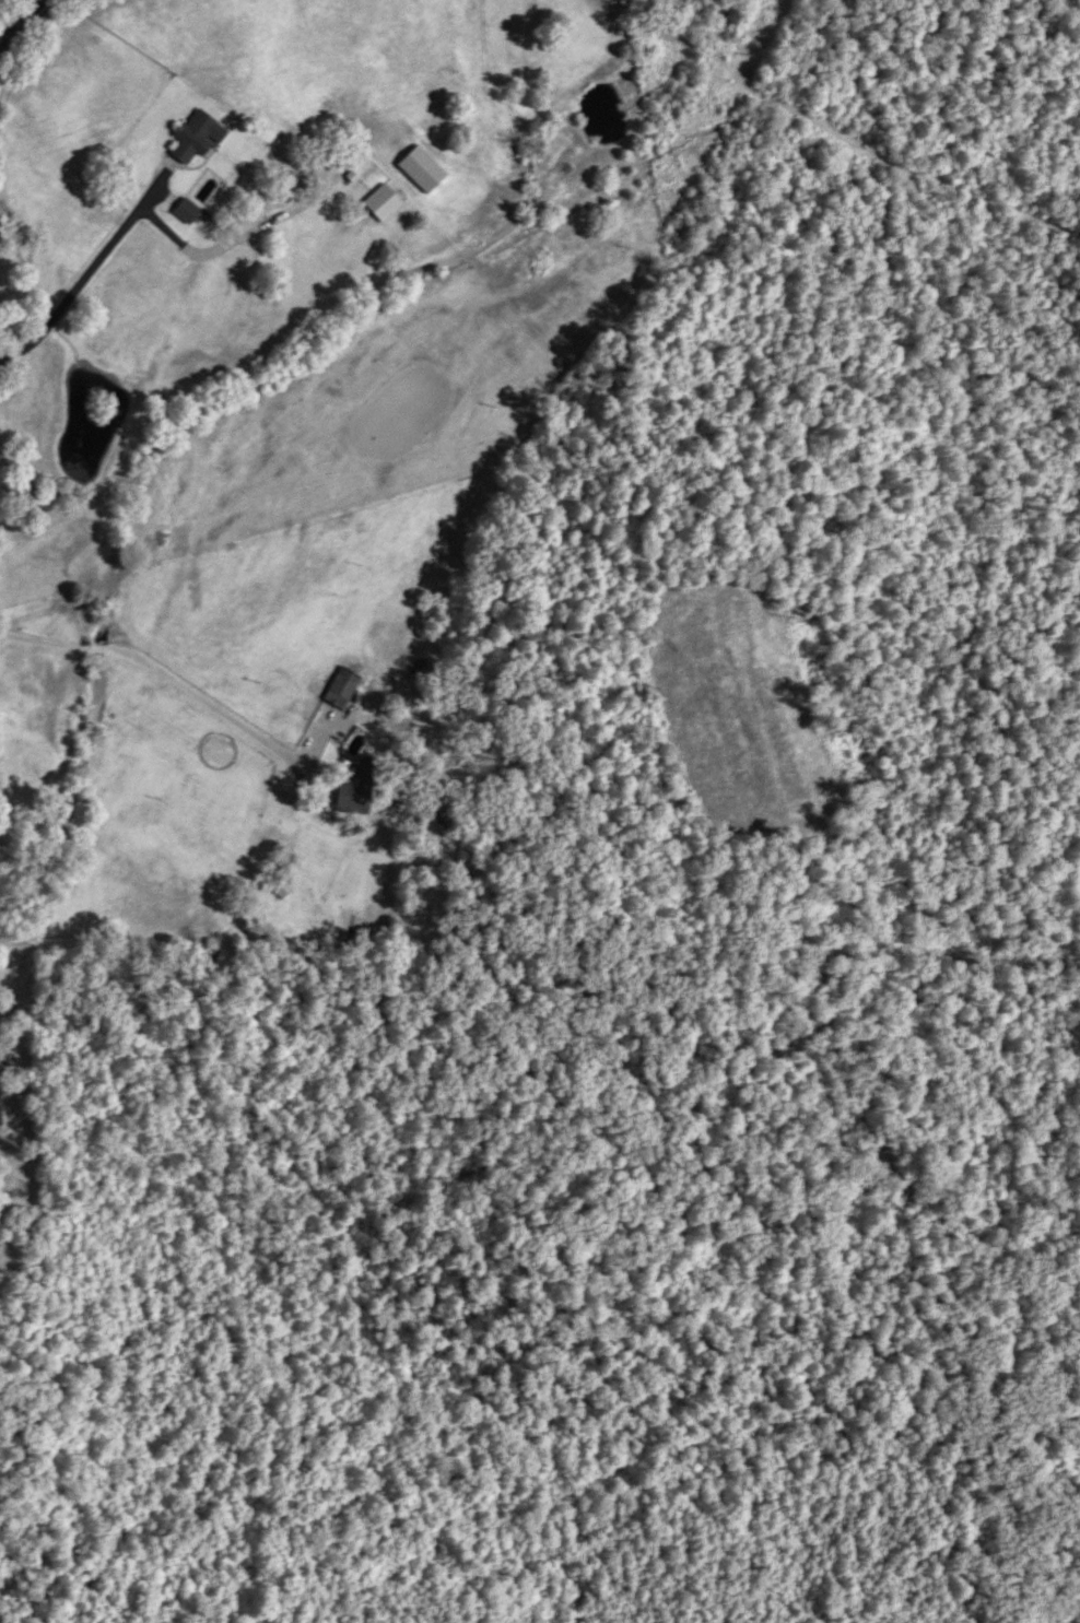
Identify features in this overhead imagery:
road: (15, 25)
road: (837, 134)
building: (195, 136)
building: (202, 187)
building: (381, 202)
building: (185, 210)
road: (255, 230)
road: (90, 270)
building: (339, 687)
road: (200, 699)
building: (354, 786)

